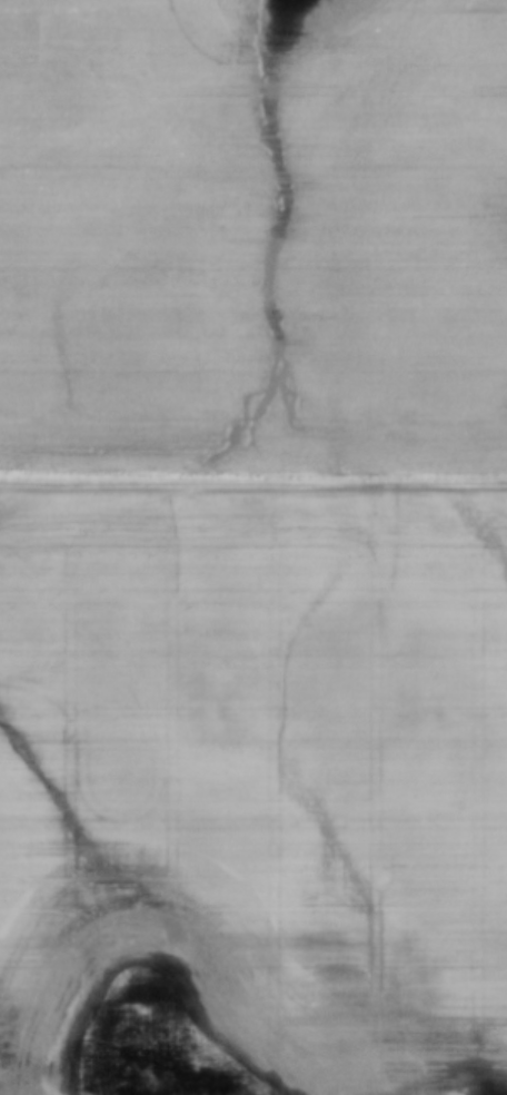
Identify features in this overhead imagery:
road: (254, 485)

